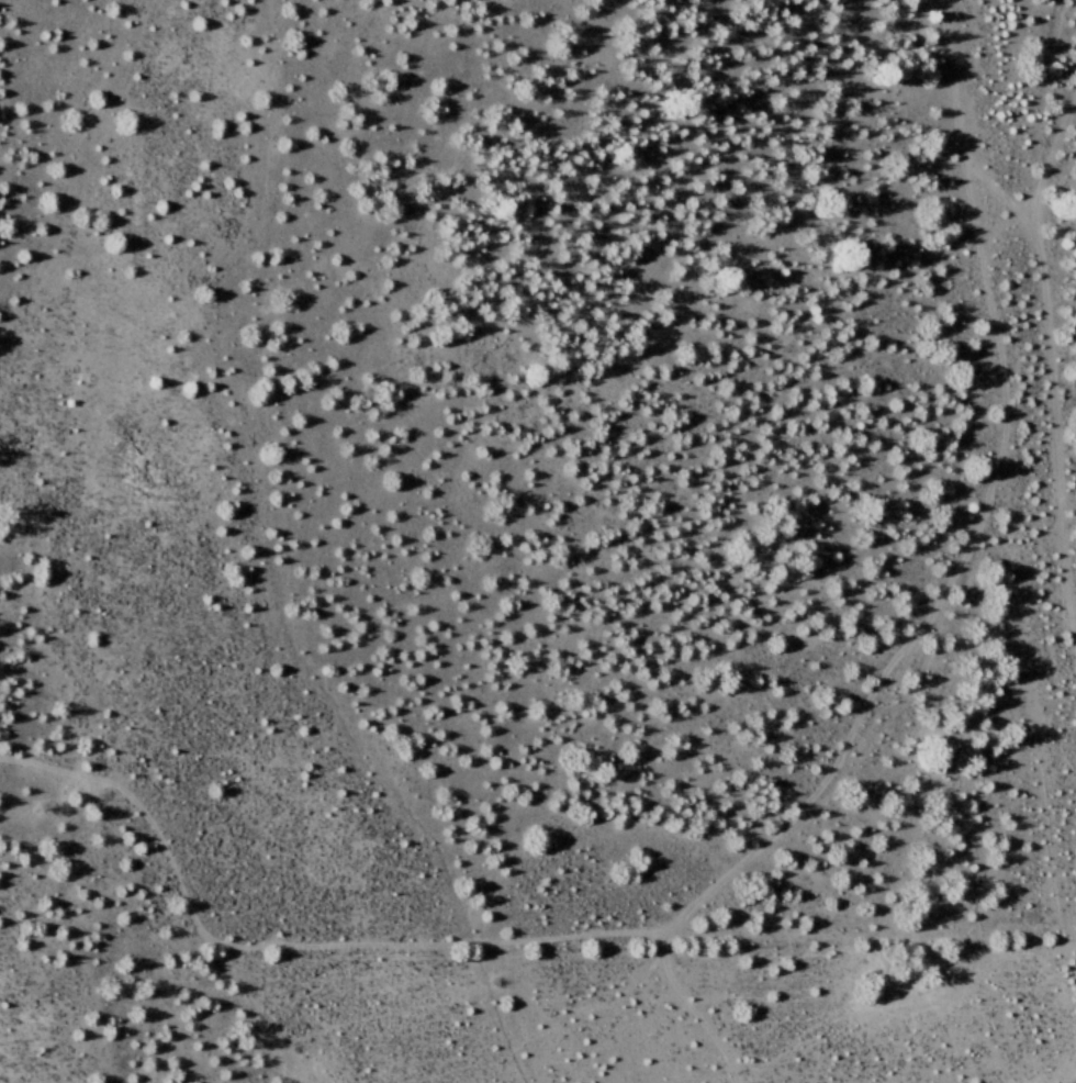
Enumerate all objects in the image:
road: (997, 191)
road: (1051, 359)
road: (928, 596)
road: (1075, 1082)

